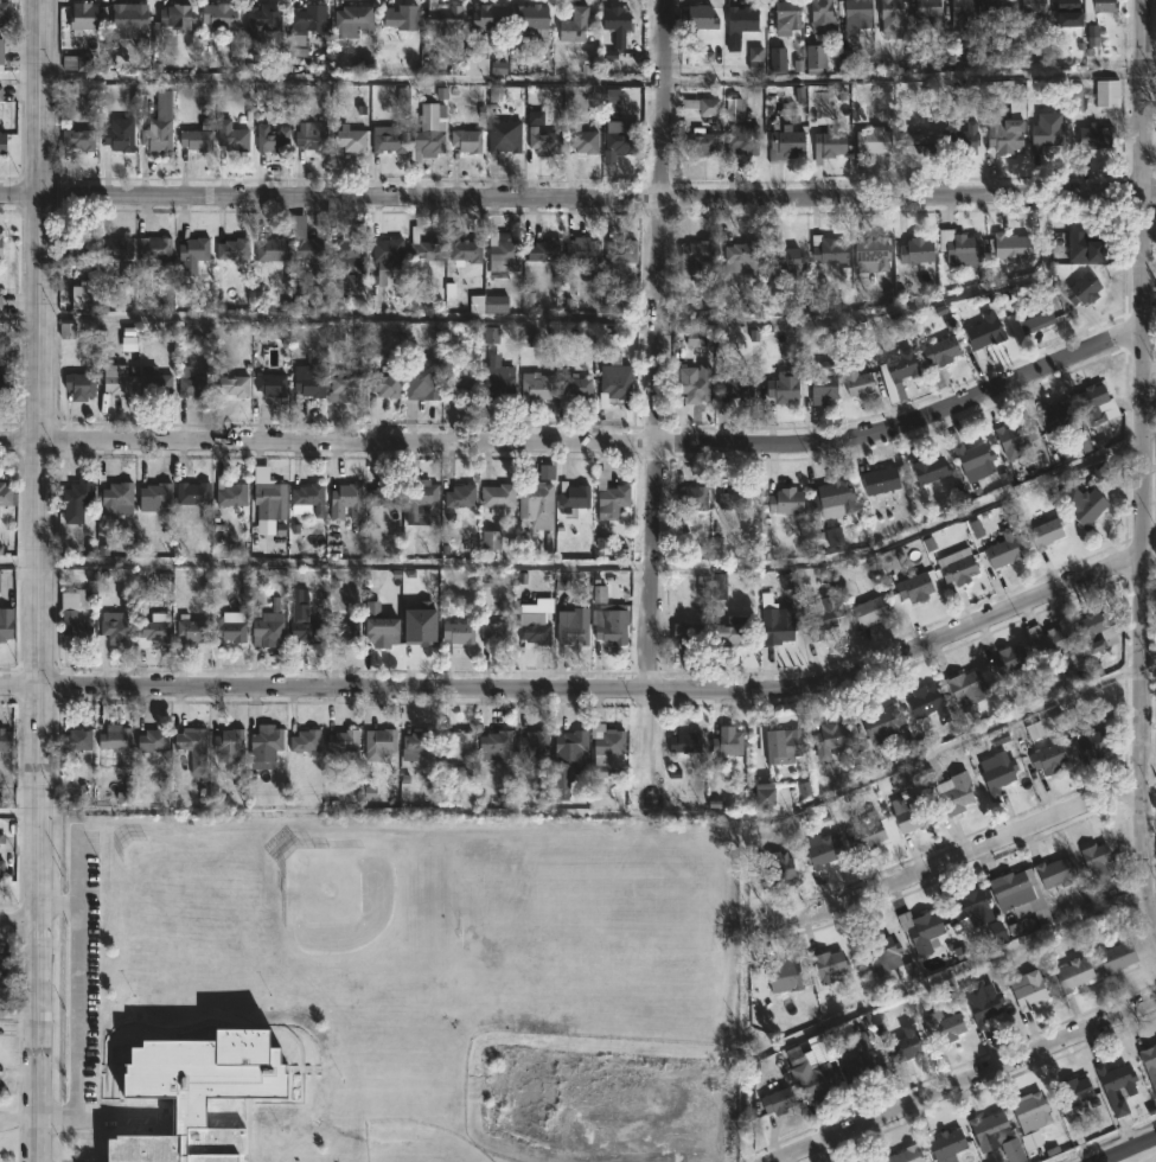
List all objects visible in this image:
building: (1104, 6)
building: (995, 7)
building: (1034, 7)
building: (927, 9)
building: (959, 9)
building: (856, 11)
building: (5, 13)
building: (1067, 13)
building: (442, 15)
building: (81, 17)
building: (128, 17)
building: (173, 17)
building: (488, 17)
building: (697, 17)
building: (820, 17)
building: (217, 18)
building: (400, 18)
building: (530, 18)
building: (786, 18)
building: (261, 19)
building: (306, 19)
building: (740, 20)
building: (347, 21)
building: (617, 24)
building: (573, 25)
building: (889, 25)
building: (4, 50)
building: (815, 58)
building: (75, 63)
building: (483, 66)
road: (672, 79)
road: (21, 82)
building: (1107, 94)
building: (702, 106)
building: (158, 124)
building: (428, 132)
building: (1045, 132)
building: (117, 135)
building: (230, 136)
building: (1005, 136)
building: (962, 138)
building: (1094, 138)
building: (77, 139)
building: (387, 139)
building: (543, 139)
building: (194, 140)
building: (272, 140)
building: (350, 140)
building: (465, 141)
building: (504, 141)
building: (582, 141)
building: (873, 141)
building: (1, 142)
building: (309, 142)
building: (622, 142)
building: (698, 142)
building: (740, 142)
building: (784, 143)
building: (919, 146)
building: (820, 148)
road: (577, 197)
building: (1072, 243)
building: (1, 247)
building: (76, 248)
building: (423, 248)
building: (115, 249)
building: (193, 249)
building: (231, 249)
building: (464, 249)
building: (270, 250)
building: (542, 250)
building: (153, 251)
building: (619, 251)
building: (917, 251)
building: (580, 253)
building: (826, 253)
building: (1008, 253)
building: (308, 254)
building: (504, 255)
building: (870, 255)
building: (346, 257)
building: (694, 257)
building: (741, 257)
building: (385, 260)
building: (785, 261)
building: (1082, 290)
building: (81, 298)
building: (492, 305)
road: (497, 313)
building: (1033, 317)
building: (491, 333)
building: (983, 333)
building: (940, 351)
building: (852, 372)
building: (900, 372)
building: (388, 376)
building: (116, 379)
building: (422, 379)
building: (306, 382)
building: (690, 382)
building: (824, 382)
building: (153, 383)
building: (498, 383)
building: (613, 383)
building: (5, 384)
building: (193, 384)
building: (78, 385)
building: (269, 385)
building: (232, 387)
building: (535, 387)
building: (574, 387)
building: (734, 387)
building: (783, 387)
building: (344, 388)
building: (466, 388)
road: (658, 404)
building: (1096, 404)
building: (1055, 415)
building: (1014, 436)
road: (586, 455)
building: (972, 455)
road: (1143, 460)
building: (928, 468)
building: (880, 479)
building: (229, 492)
building: (417, 492)
building: (5, 493)
building: (192, 493)
building: (382, 494)
building: (689, 494)
building: (153, 496)
building: (459, 496)
building: (733, 497)
building: (116, 498)
building: (307, 498)
building: (498, 498)
building: (571, 498)
building: (74, 500)
building: (345, 500)
building: (612, 500)
building: (785, 500)
building: (835, 500)
building: (268, 502)
building: (535, 503)
building: (1084, 505)
building: (1045, 532)
building: (1003, 549)
building: (957, 566)
road: (590, 573)
road: (40, 580)
building: (913, 586)
building: (870, 609)
building: (820, 614)
building: (301, 618)
building: (7, 621)
building: (72, 622)
building: (609, 622)
building: (267, 625)
building: (114, 626)
building: (532, 627)
building: (774, 627)
building: (190, 628)
building: (228, 628)
building: (1096, 628)
building: (344, 630)
building: (570, 630)
building: (152, 631)
building: (381, 631)
building: (420, 631)
building: (496, 631)
building: (729, 632)
building: (455, 633)
building: (688, 633)
building: (1049, 638)
road: (1148, 657)
building: (1009, 658)
building: (966, 687)
road: (592, 691)
building: (926, 702)
building: (879, 722)
building: (110, 734)
building: (830, 736)
building: (189, 738)
building: (5, 739)
building: (152, 739)
building: (76, 740)
building: (606, 740)
building: (228, 741)
building: (304, 741)
building: (456, 741)
building: (494, 741)
building: (684, 741)
building: (726, 741)
building: (343, 742)
building: (1092, 742)
building: (377, 743)
building: (778, 743)
building: (264, 745)
building: (414, 745)
building: (531, 749)
road: (949, 749)
building: (566, 755)
building: (1048, 756)
building: (996, 771)
building: (954, 792)
building: (765, 797)
building: (911, 811)
road: (20, 816)
building: (866, 831)
building: (2, 837)
building: (822, 849)
road: (963, 858)
building: (1098, 861)
building: (1, 867)
building: (775, 867)
building: (1055, 871)
building: (161, 887)
building: (1018, 894)
building: (969, 909)
road: (21, 920)
building: (921, 930)
building: (161, 950)
building: (887, 954)
building: (1116, 957)
building: (826, 964)
building: (4, 970)
road: (959, 970)
building: (1073, 973)
building: (161, 975)
building: (783, 975)
building: (202, 979)
building: (1027, 990)
building: (161, 998)
building: (981, 1002)
building: (203, 1003)
road: (78, 1011)
road: (21, 1016)
building: (943, 1026)
building: (204, 1028)
building: (903, 1046)
building: (858, 1058)
building: (1149, 1061)
building: (811, 1067)
road: (965, 1081)
building: (1116, 1086)
building: (196, 1091)
building: (1073, 1091)
building: (777, 1100)
building: (1030, 1112)
building: (995, 1135)
building: (946, 1144)
road: (1125, 1149)
building: (905, 1155)

